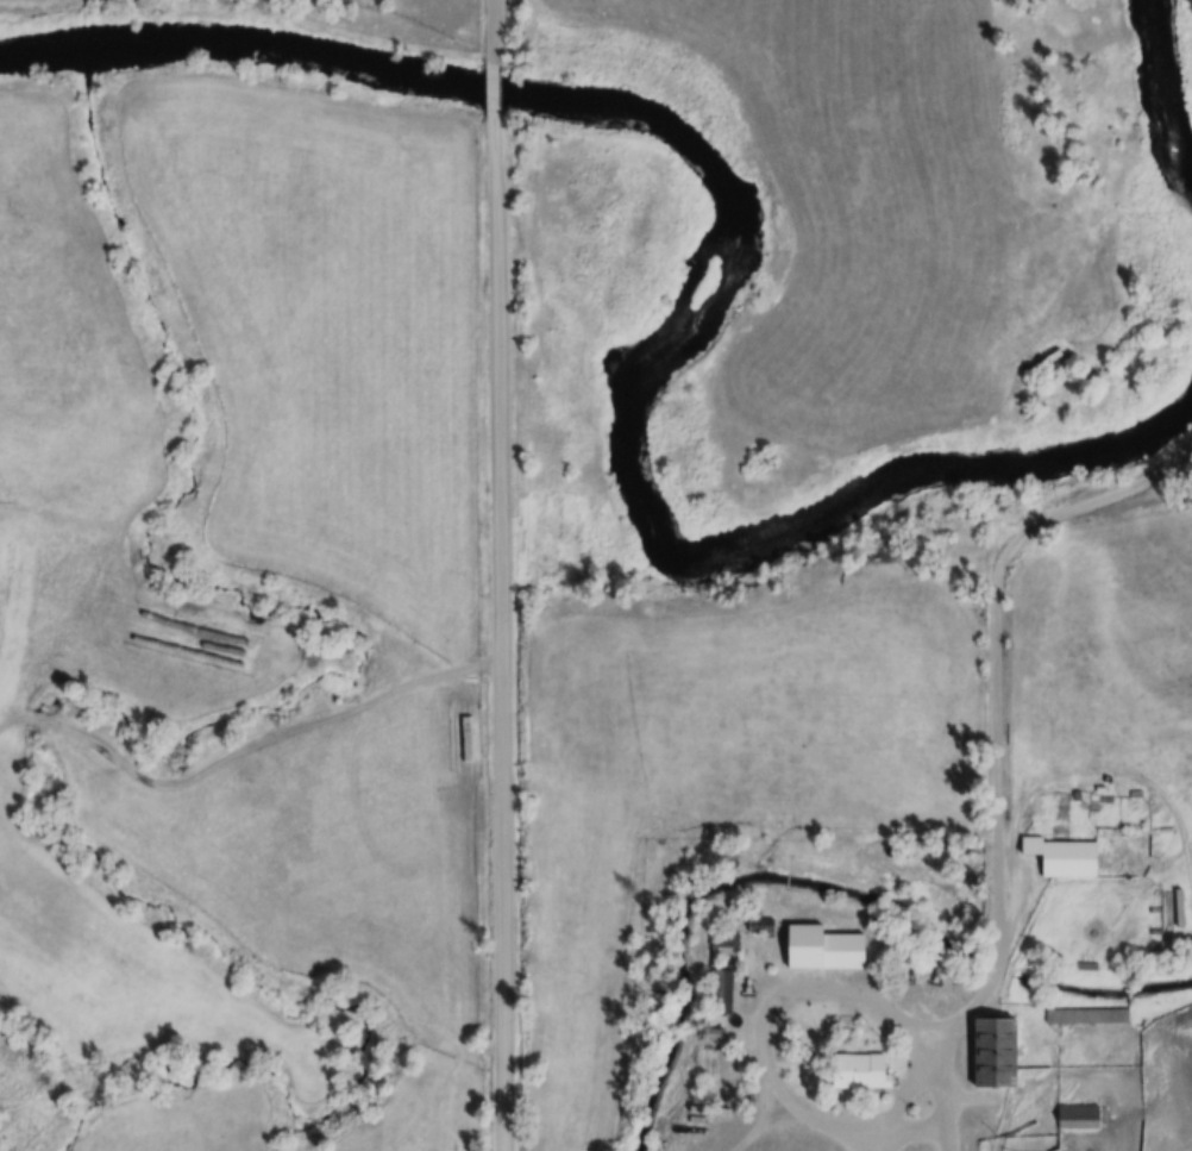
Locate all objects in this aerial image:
road: (493, 32)
road: (493, 87)
river: (1166, 104)
river: (713, 299)
road: (500, 631)
building: (463, 730)
building: (1069, 859)
building: (760, 926)
building: (824, 949)
building: (721, 992)
building: (1087, 1016)
building: (996, 1055)
building: (860, 1070)
building: (723, 1111)
building: (1078, 1116)

